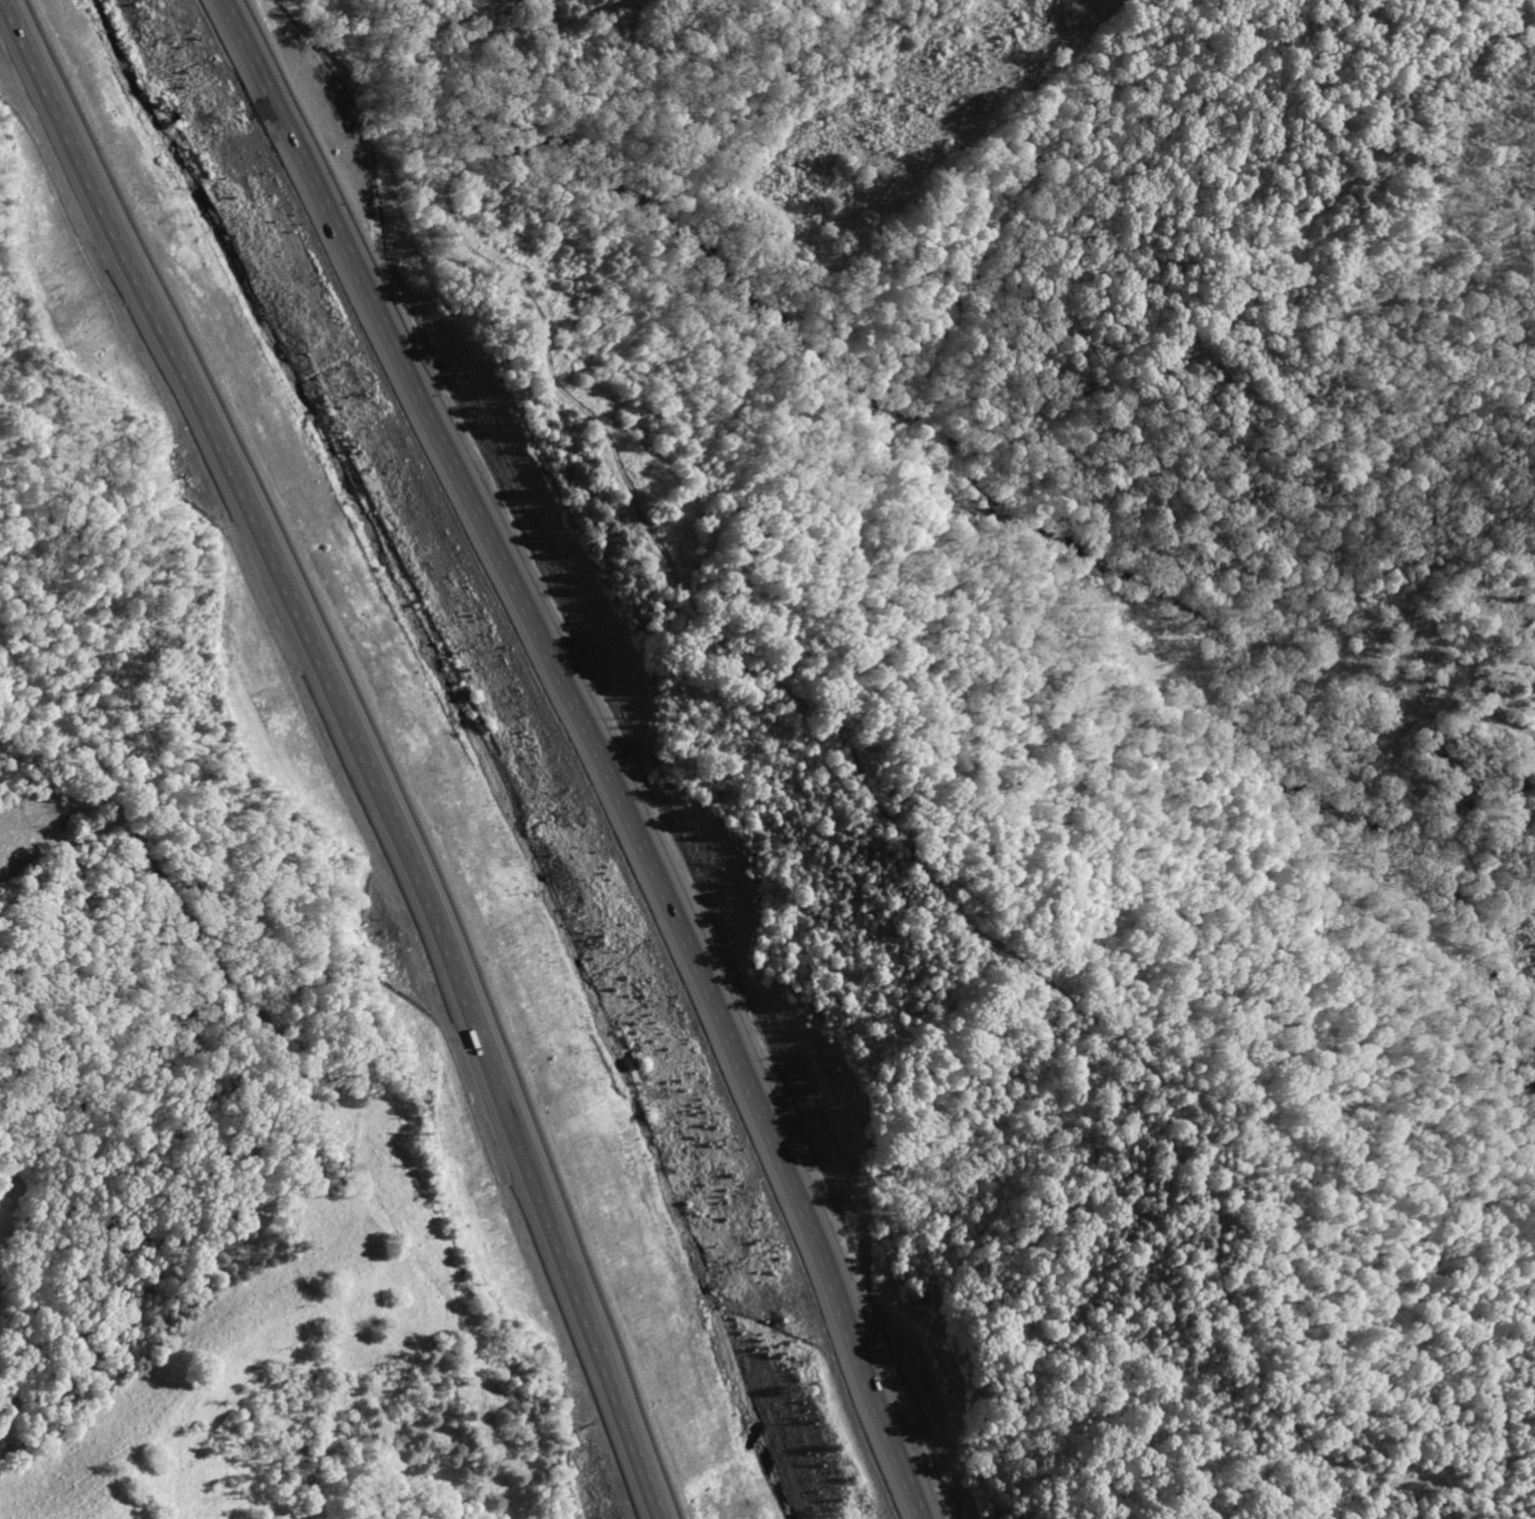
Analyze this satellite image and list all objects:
road: (355, 748)
road: (612, 748)

